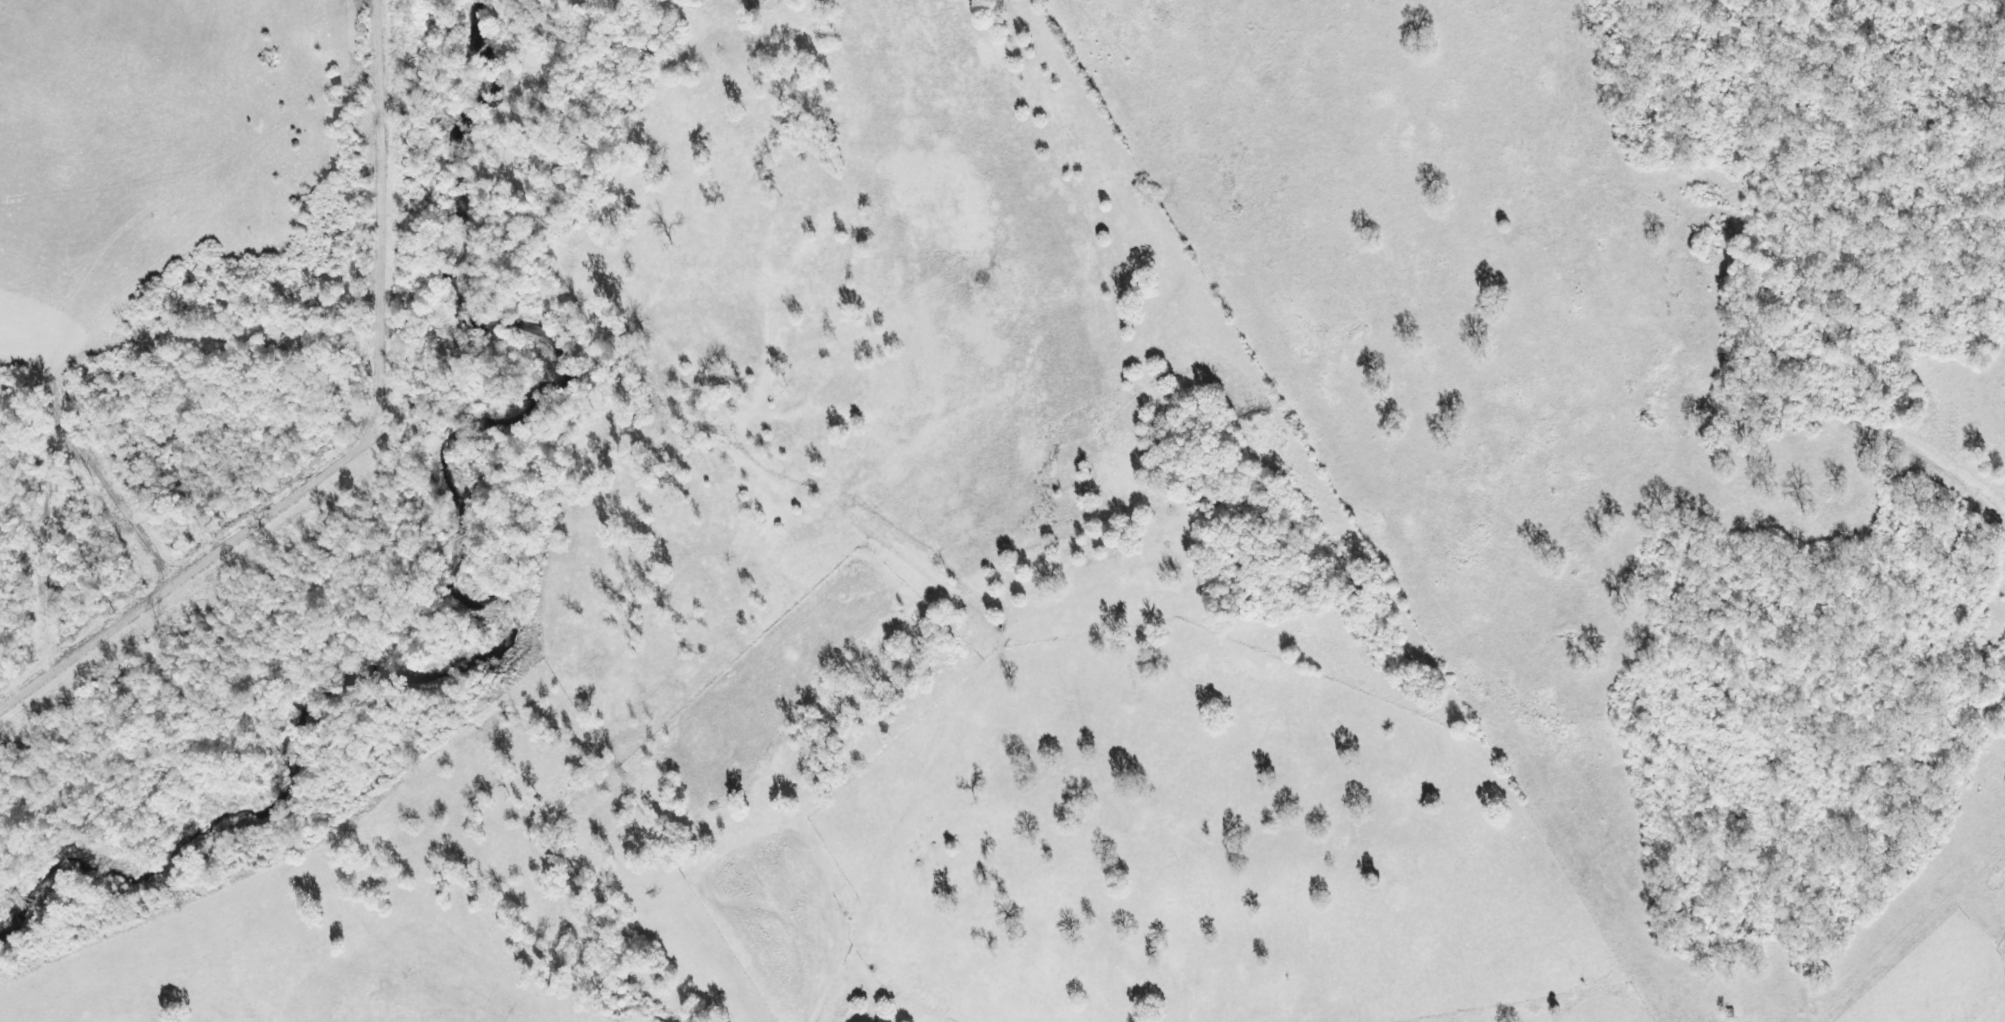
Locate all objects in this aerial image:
river: (505, 638)

